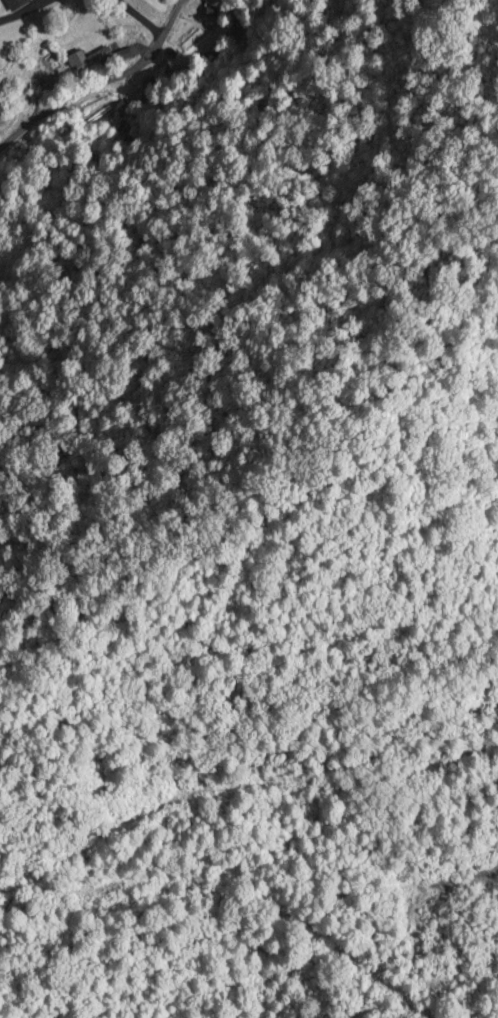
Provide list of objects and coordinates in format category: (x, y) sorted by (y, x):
road: (87, 72)

